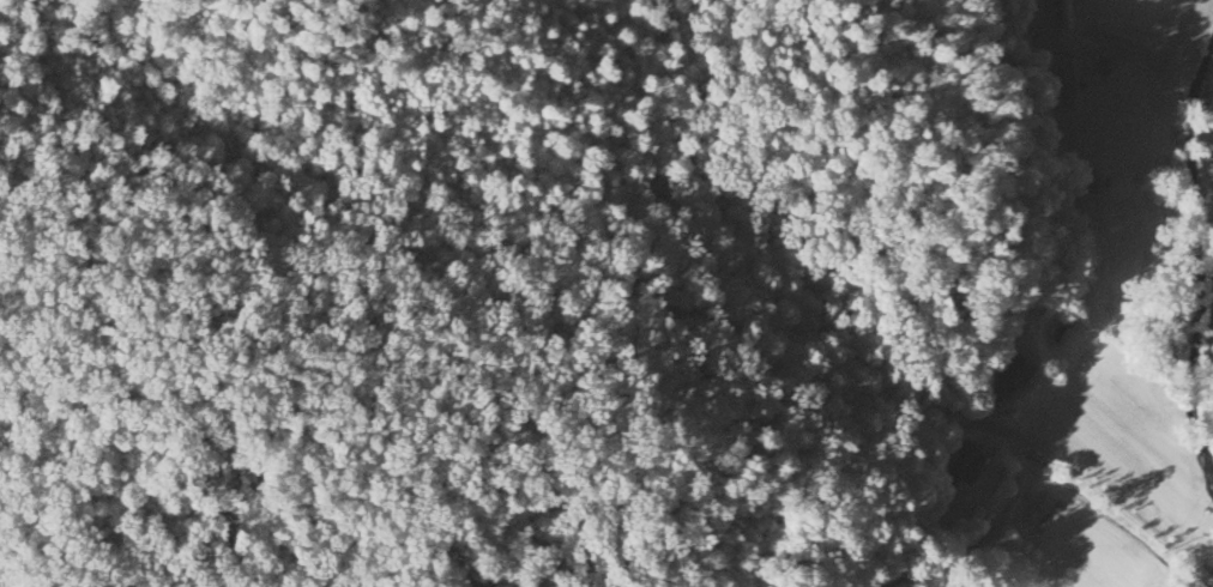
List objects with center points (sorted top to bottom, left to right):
building: (1067, 13)
road: (1158, 73)
building: (1074, 85)
building: (1094, 187)
building: (1014, 375)
road: (1106, 458)
building: (964, 467)

